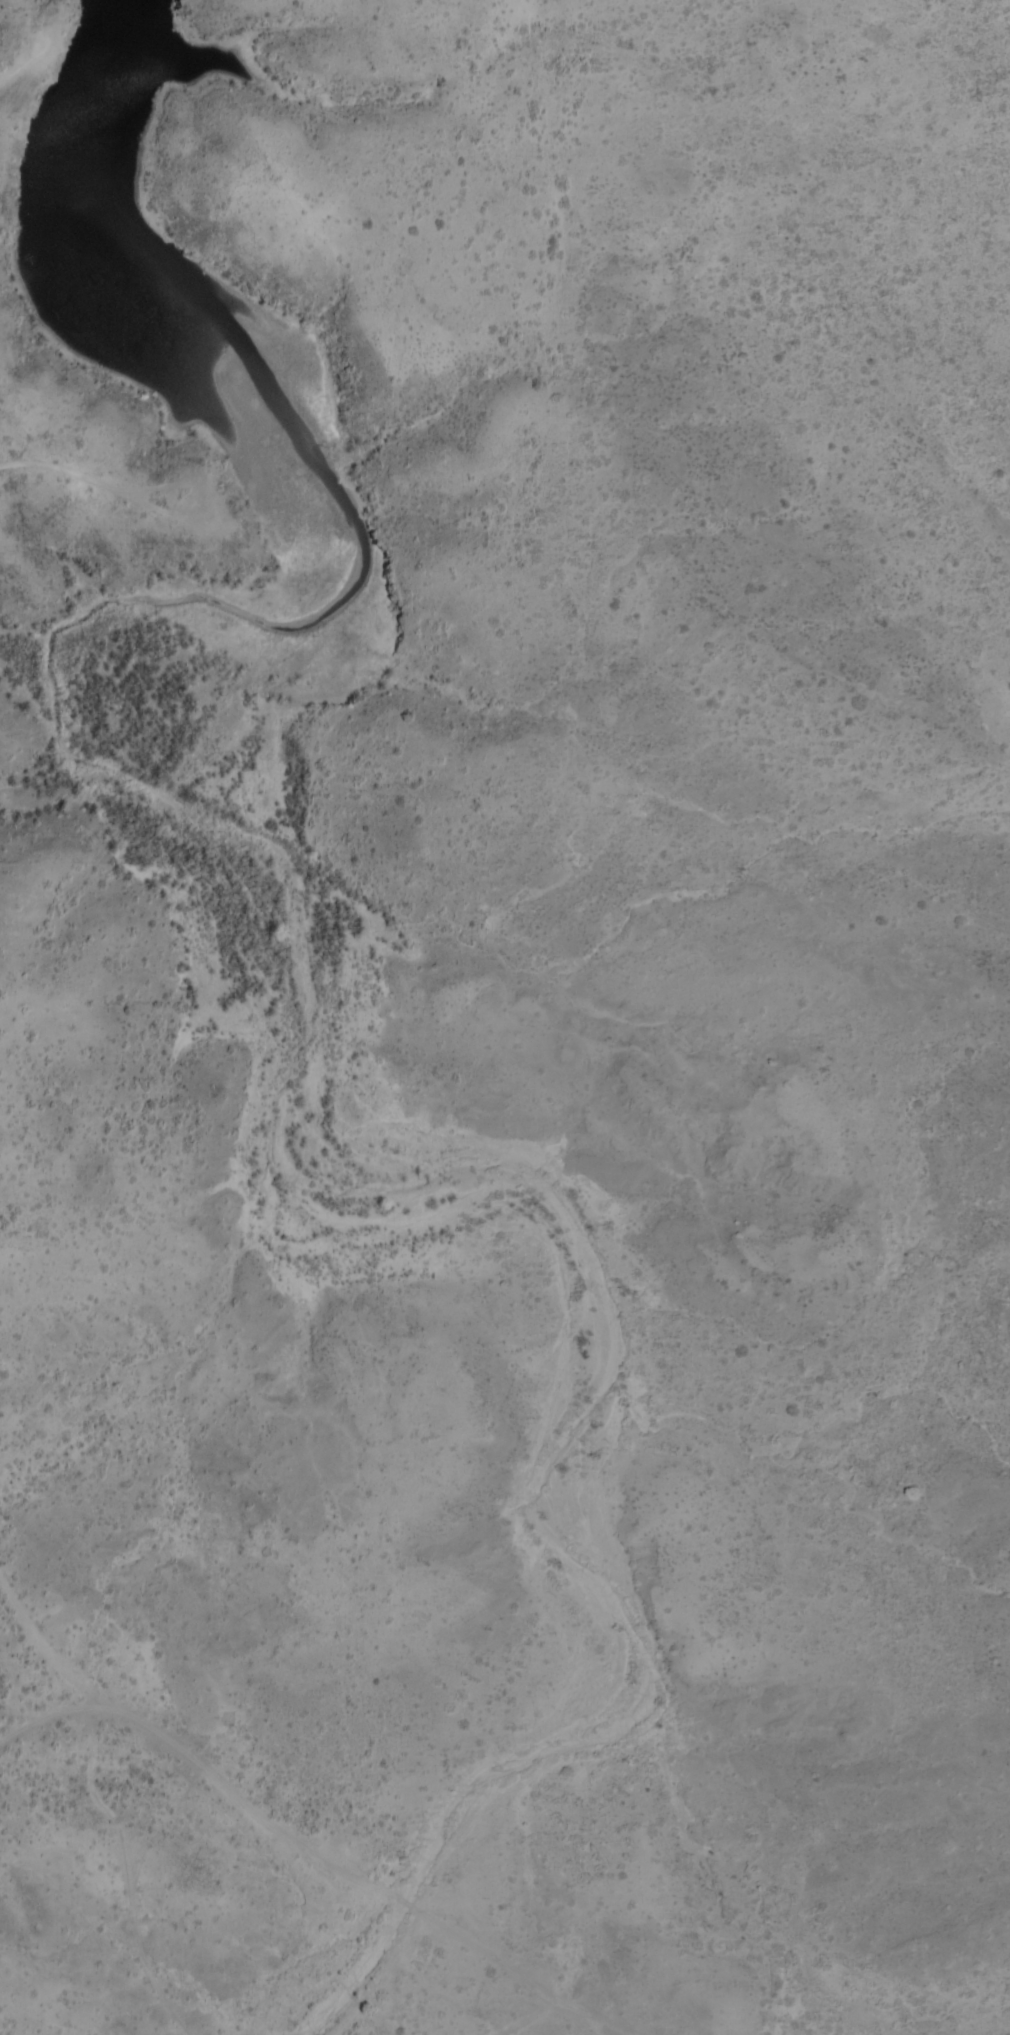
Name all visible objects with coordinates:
road: (265, 1855)

